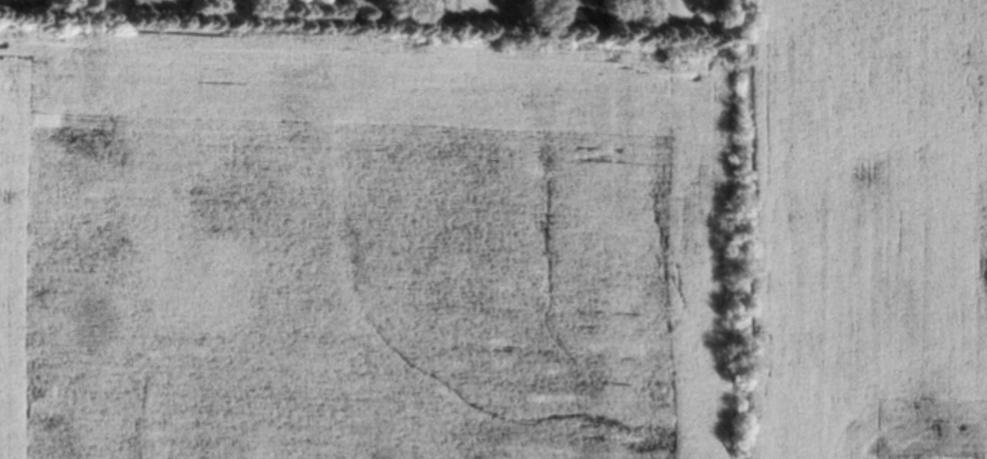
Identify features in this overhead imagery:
building: (140, 6)
building: (578, 17)
building: (601, 19)

